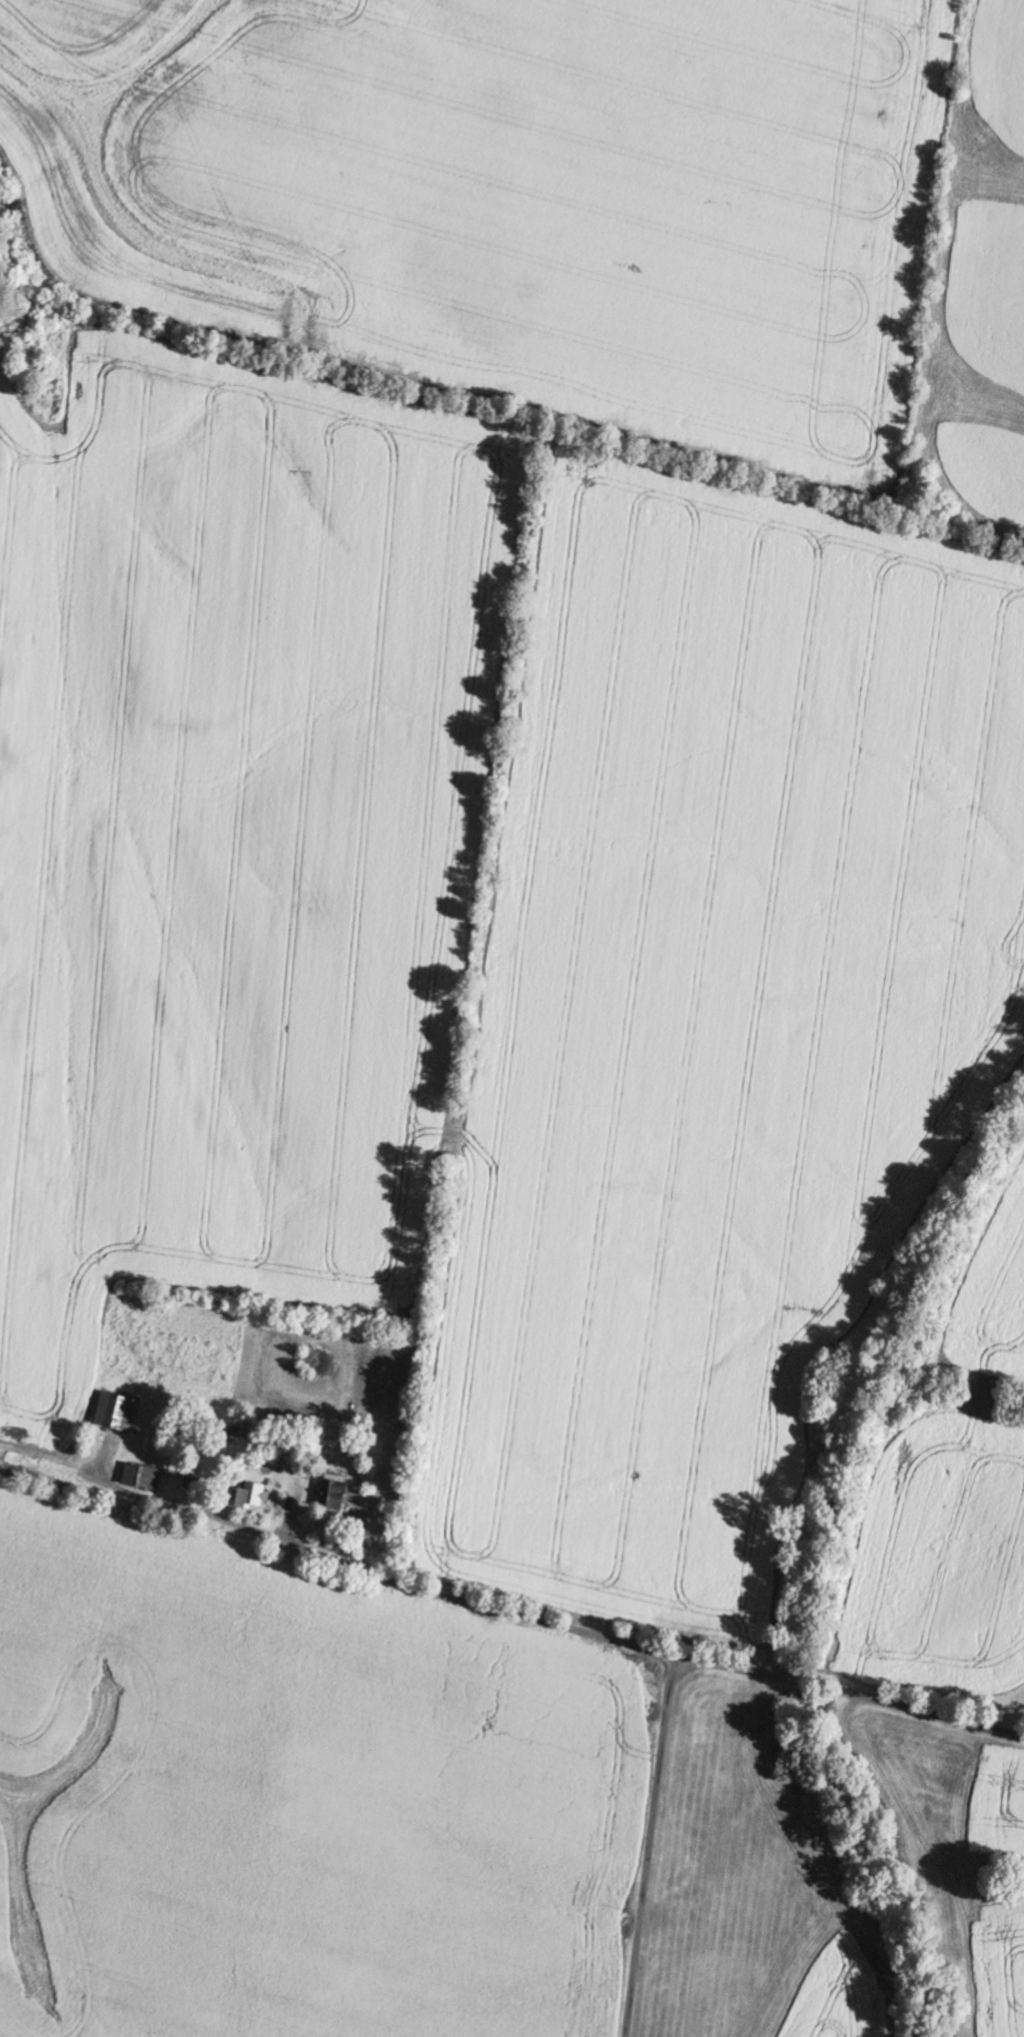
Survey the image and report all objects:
building: (118, 1410)
building: (143, 1476)
building: (254, 1496)
building: (337, 1498)
road: (504, 1609)
road: (680, 1679)

